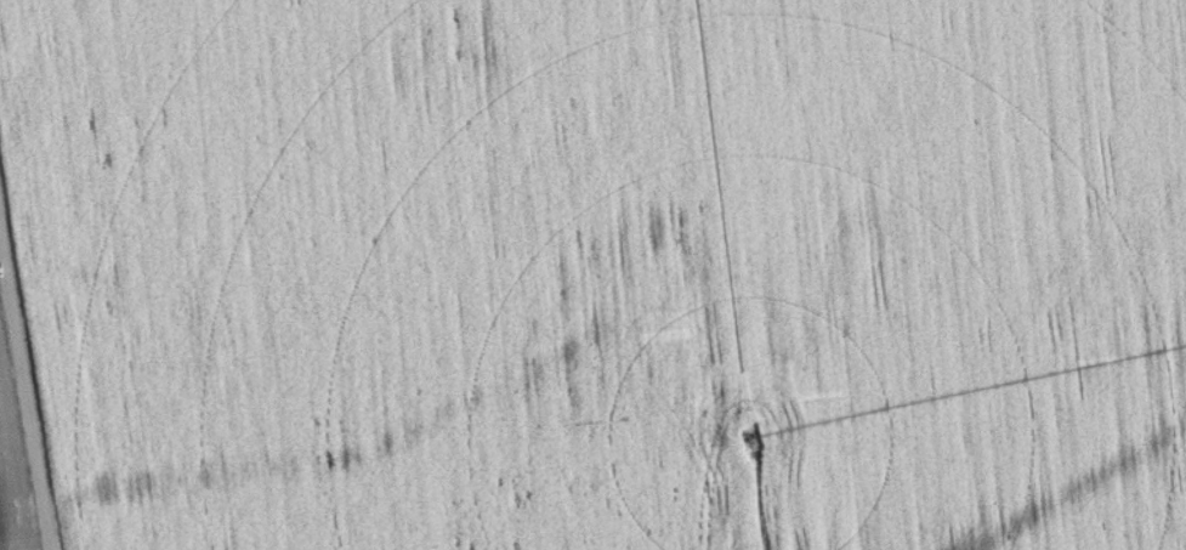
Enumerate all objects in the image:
road: (22, 391)

